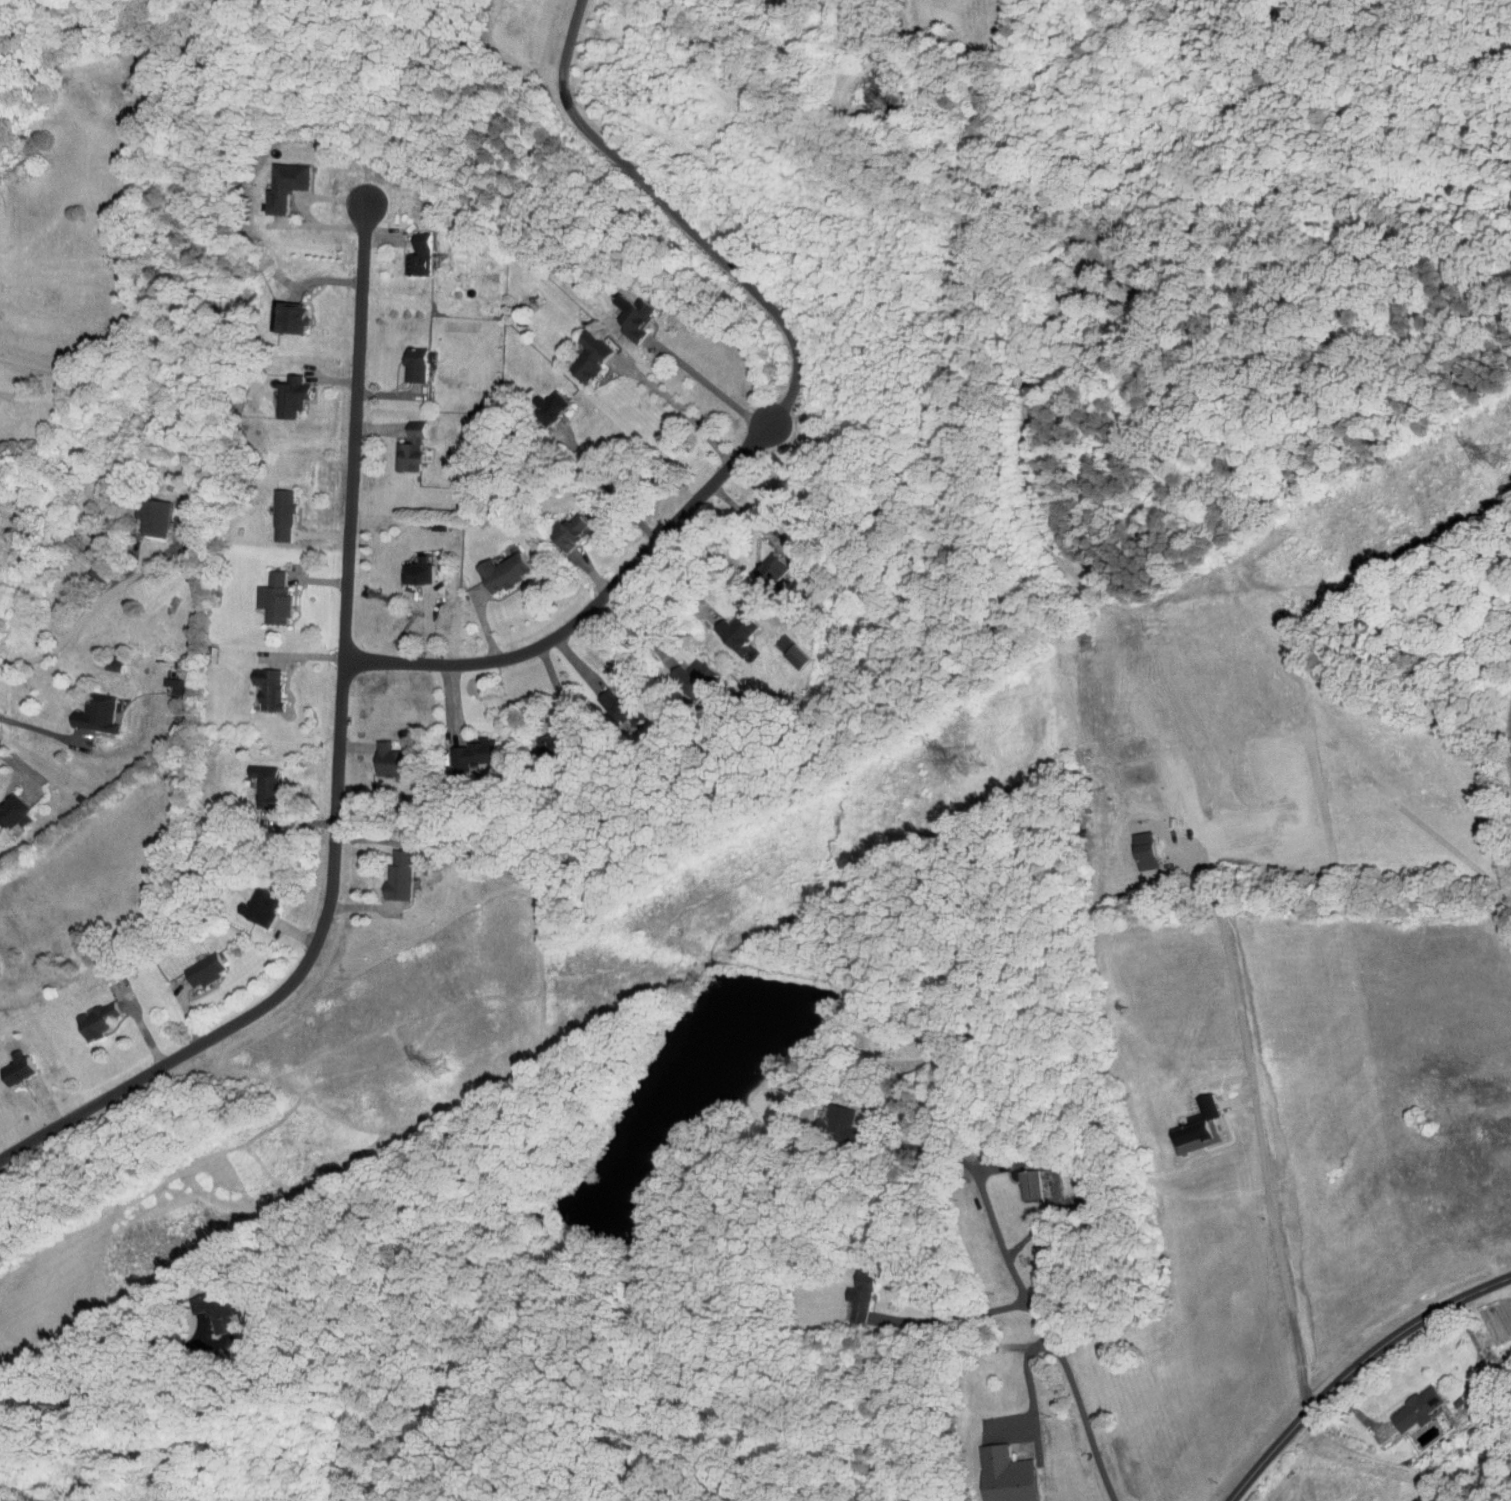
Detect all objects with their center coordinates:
road: (469, 33)
building: (285, 185)
road: (665, 206)
road: (385, 241)
building: (418, 255)
road: (334, 281)
building: (290, 316)
building: (588, 356)
building: (415, 364)
road: (337, 380)
road: (709, 387)
road: (380, 395)
building: (290, 396)
building: (550, 407)
road: (684, 413)
road: (375, 428)
building: (409, 451)
power tower: (1498, 454)
road: (610, 490)
road: (738, 509)
building: (281, 515)
building: (151, 517)
building: (569, 532)
road: (617, 553)
building: (771, 568)
building: (417, 572)
building: (502, 572)
road: (593, 574)
road: (671, 576)
road: (322, 580)
building: (275, 596)
road: (597, 598)
road: (80, 610)
road: (633, 626)
road: (485, 629)
building: (735, 631)
road: (569, 653)
road: (305, 656)
building: (693, 676)
road: (555, 680)
building: (173, 684)
building: (267, 687)
road: (451, 691)
building: (95, 713)
road: (39, 730)
road: (1505, 734)
building: (481, 752)
building: (389, 760)
power tower: (966, 760)
road: (336, 766)
road: (16, 768)
building: (263, 786)
building: (12, 812)
road: (302, 822)
building: (1144, 852)
building: (398, 876)
road: (361, 906)
building: (258, 907)
road: (295, 933)
building: (203, 970)
road: (186, 1008)
building: (95, 1021)
road: (140, 1023)
building: (16, 1069)
power tower: (440, 1069)
building: (842, 1118)
building: (1197, 1126)
building: (1029, 1183)
road: (1279, 1248)
road: (1035, 1256)
road: (1019, 1276)
road: (1510, 1278)
building: (861, 1296)
road: (969, 1316)
building: (212, 1317)
road: (1479, 1348)
road: (1031, 1366)
road: (1356, 1369)
road: (94, 1392)
road: (1385, 1392)
building: (1417, 1408)
building: (1005, 1475)

